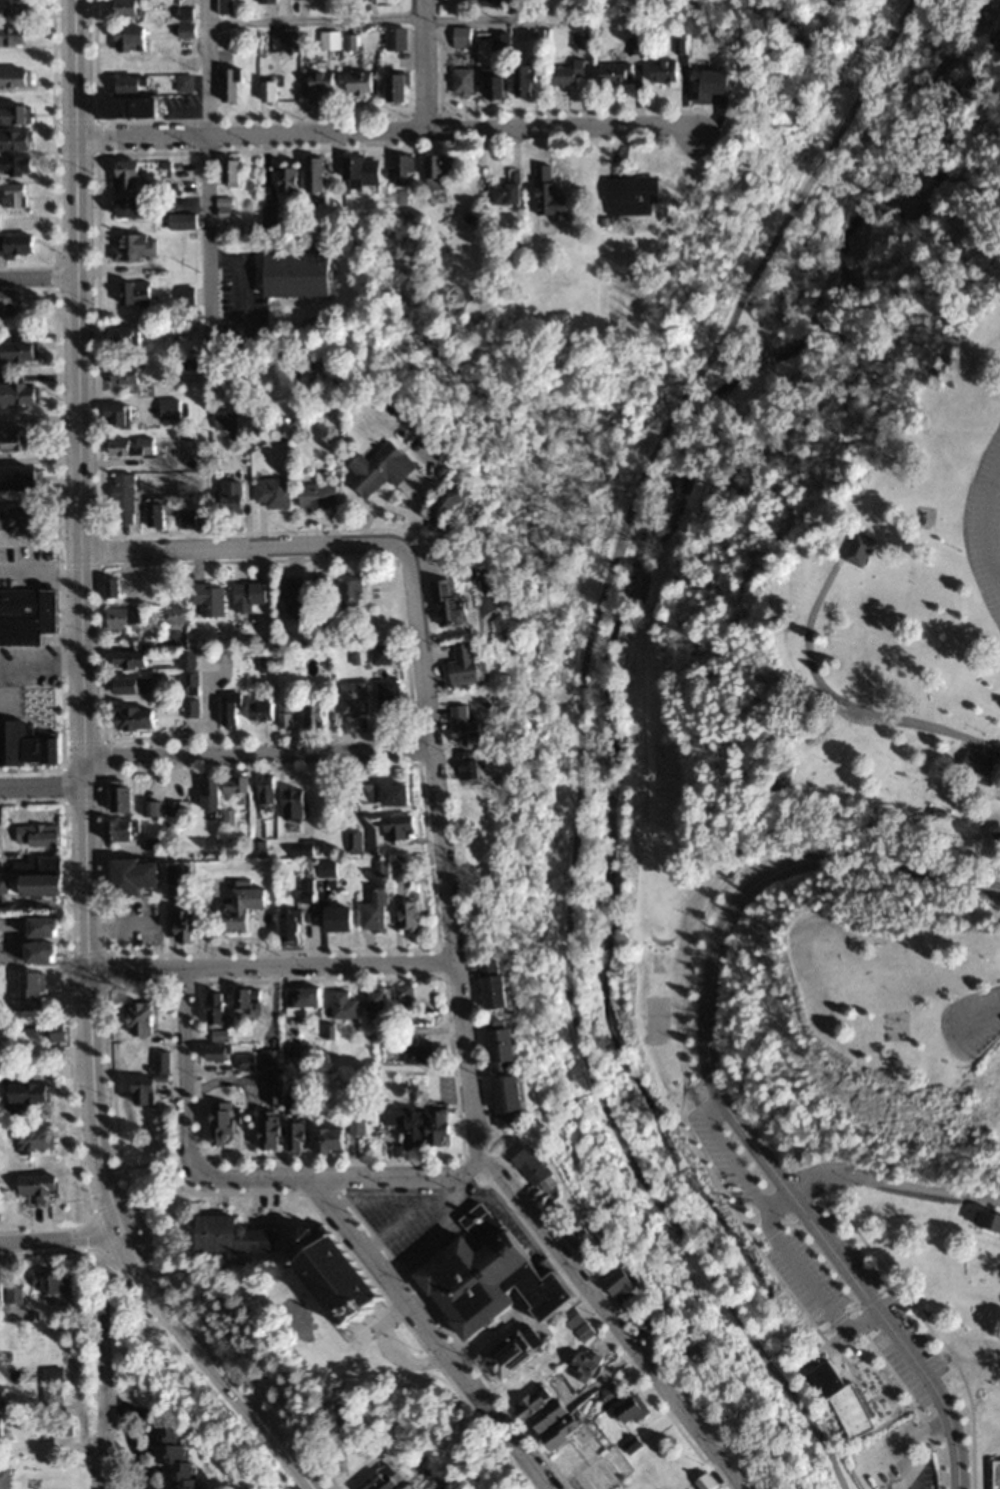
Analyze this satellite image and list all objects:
building: (265, 1)
building: (13, 6)
building: (224, 6)
building: (123, 8)
park: (712, 8)
road: (374, 21)
building: (11, 36)
building: (460, 37)
building: (394, 38)
building: (128, 39)
building: (578, 39)
building: (328, 40)
building: (498, 42)
road: (426, 63)
building: (661, 70)
building: (613, 72)
building: (565, 73)
building: (14, 77)
building: (520, 80)
building: (356, 81)
building: (460, 81)
building: (182, 82)
building: (319, 82)
building: (491, 82)
building: (125, 84)
building: (228, 84)
building: (706, 84)
building: (397, 87)
building: (268, 90)
street lamp: (58, 98)
building: (124, 107)
building: (14, 115)
road: (564, 123)
road: (251, 130)
building: (13, 140)
street lamp: (102, 150)
building: (14, 165)
building: (402, 170)
building: (229, 172)
road: (206, 173)
building: (362, 173)
building: (439, 173)
building: (124, 174)
building: (312, 174)
building: (285, 179)
building: (504, 190)
building: (546, 195)
building: (12, 196)
building: (627, 198)
building: (128, 207)
building: (268, 219)
building: (181, 222)
street lamp: (59, 227)
building: (15, 245)
building: (133, 247)
road: (37, 274)
building: (295, 275)
building: (133, 293)
road: (239, 299)
building: (8, 304)
street lamp: (91, 311)
building: (121, 335)
building: (17, 352)
building: (121, 375)
building: (18, 394)
building: (168, 409)
building: (113, 415)
building: (224, 419)
building: (17, 440)
building: (128, 446)
building: (378, 469)
building: (18, 480)
building: (270, 492)
building: (315, 495)
building: (229, 497)
building: (121, 499)
street lamp: (93, 505)
building: (439, 507)
building: (152, 515)
building: (19, 521)
road: (981, 521)
parking lot: (985, 522)
road: (242, 546)
building: (857, 549)
road: (39, 574)
building: (110, 588)
building: (348, 591)
building: (317, 593)
building: (247, 596)
building: (290, 597)
building: (207, 598)
building: (448, 605)
building: (174, 614)
building: (25, 616)
building: (120, 618)
road: (80, 623)
building: (379, 655)
building: (127, 660)
road: (40, 663)
building: (266, 665)
building: (461, 665)
building: (186, 684)
building: (131, 685)
building: (386, 697)
road: (830, 698)
building: (351, 699)
road: (211, 706)
building: (190, 709)
building: (258, 711)
building: (227, 713)
building: (283, 715)
building: (312, 715)
building: (132, 719)
building: (461, 727)
road: (577, 742)
building: (24, 747)
road: (257, 753)
building: (465, 767)
park: (835, 768)
street lamp: (96, 772)
building: (233, 785)
road: (43, 789)
building: (262, 791)
building: (208, 794)
building: (364, 794)
building: (392, 796)
building: (117, 798)
building: (290, 805)
building: (152, 809)
building: (119, 831)
building: (35, 835)
street lamp: (68, 835)
building: (152, 845)
road: (441, 850)
building: (34, 864)
road: (822, 864)
building: (325, 869)
building: (379, 869)
building: (400, 873)
building: (132, 877)
building: (37, 885)
building: (240, 908)
building: (372, 912)
building: (405, 917)
building: (335, 919)
building: (182, 927)
building: (289, 927)
road: (271, 963)
building: (29, 987)
building: (400, 994)
building: (299, 998)
building: (374, 1001)
building: (244, 1002)
building: (342, 1007)
building: (212, 1009)
road: (979, 1015)
building: (137, 1018)
building: (54, 1030)
building: (498, 1047)
building: (214, 1054)
building: (416, 1055)
building: (160, 1062)
building: (245, 1062)
road: (183, 1071)
building: (273, 1088)
building: (141, 1091)
building: (21, 1093)
road: (681, 1094)
building: (504, 1102)
building: (218, 1124)
building: (418, 1126)
building: (355, 1128)
building: (267, 1133)
building: (293, 1137)
building: (35, 1140)
building: (326, 1141)
building: (528, 1167)
road: (340, 1175)
road: (891, 1183)
building: (35, 1185)
building: (988, 1222)
building: (229, 1238)
road: (818, 1238)
building: (578, 1240)
road: (59, 1244)
street lamp: (172, 1272)
building: (327, 1277)
building: (48, 1284)
building: (484, 1286)
building: (617, 1288)
street lamp: (835, 1292)
road: (898, 1301)
building: (13, 1303)
building: (568, 1321)
road: (607, 1323)
building: (640, 1327)
road: (423, 1333)
building: (580, 1334)
road: (369, 1340)
building: (510, 1357)
road: (871, 1359)
road: (100, 1366)
road: (210, 1368)
building: (583, 1368)
building: (50, 1398)
building: (2, 1400)
building: (836, 1400)
building: (627, 1413)
building: (532, 1414)
building: (60, 1428)
building: (0, 1429)
road: (132, 1436)
building: (557, 1436)
road: (900, 1448)
building: (171, 1457)
building: (995, 1473)
building: (3, 1479)
building: (378, 1481)
building: (702, 1484)
building: (405, 1487)

